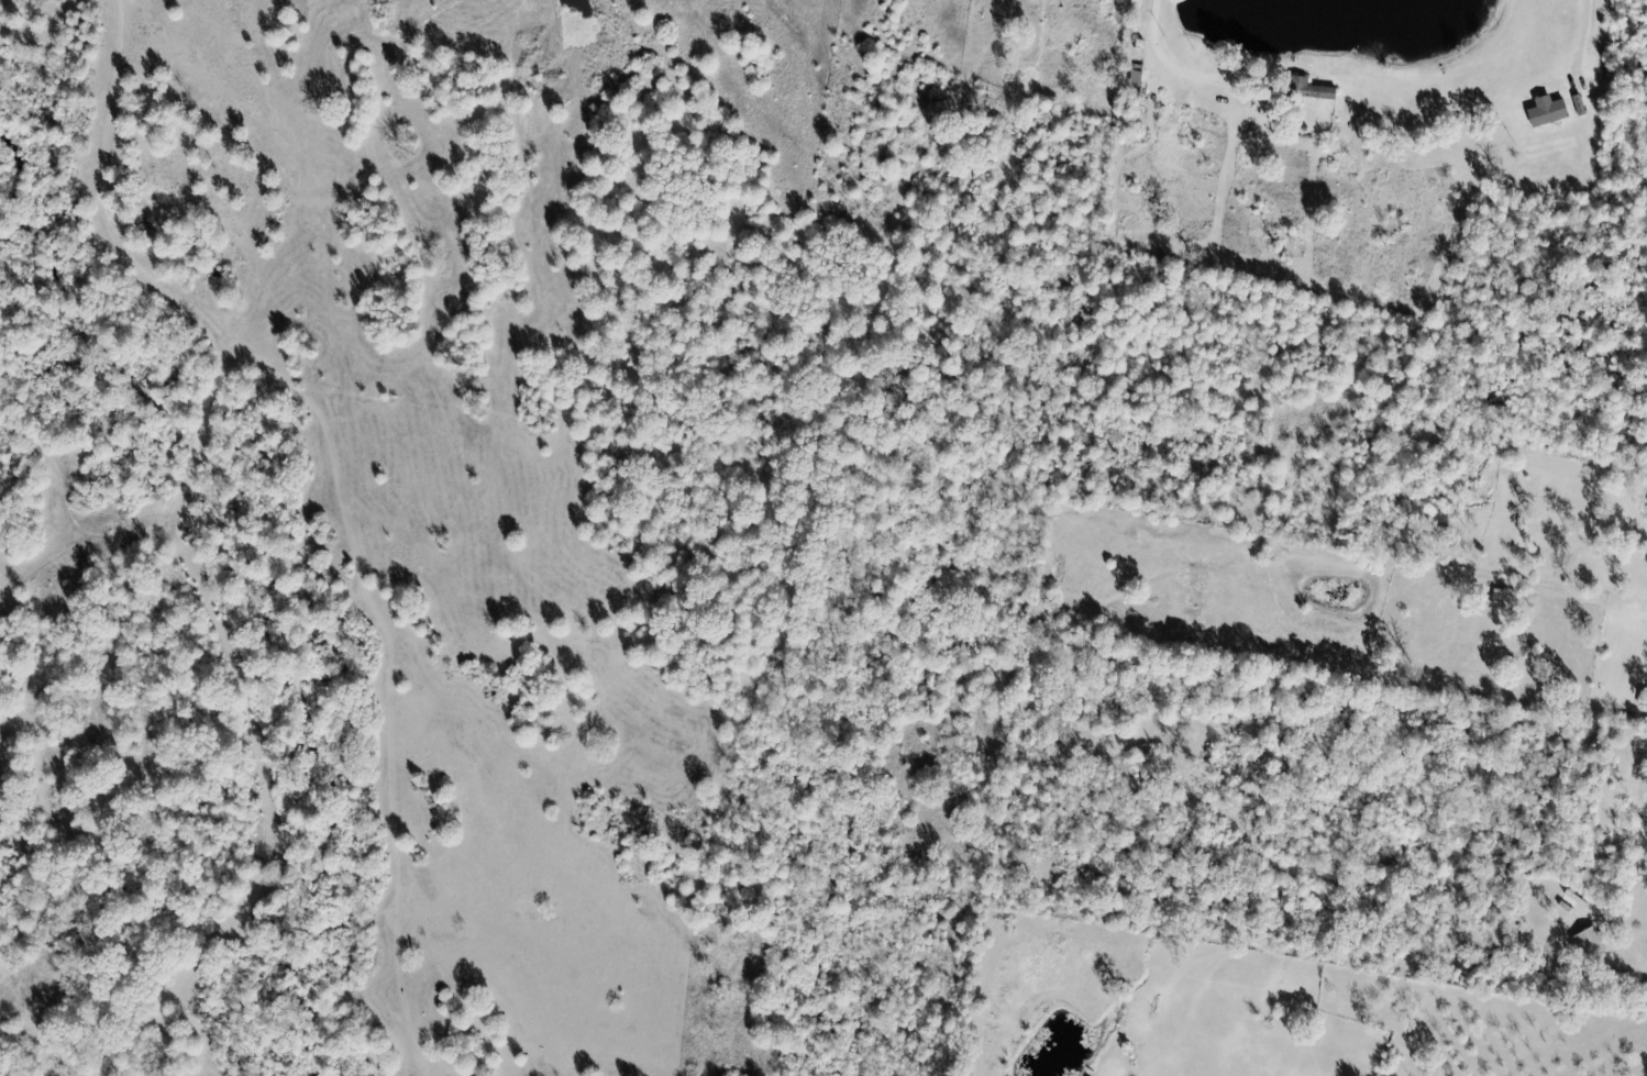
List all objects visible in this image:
road: (1584, 22)
road: (1176, 63)
building: (1317, 91)
road: (1587, 98)
building: (1550, 114)
building: (1592, 947)

